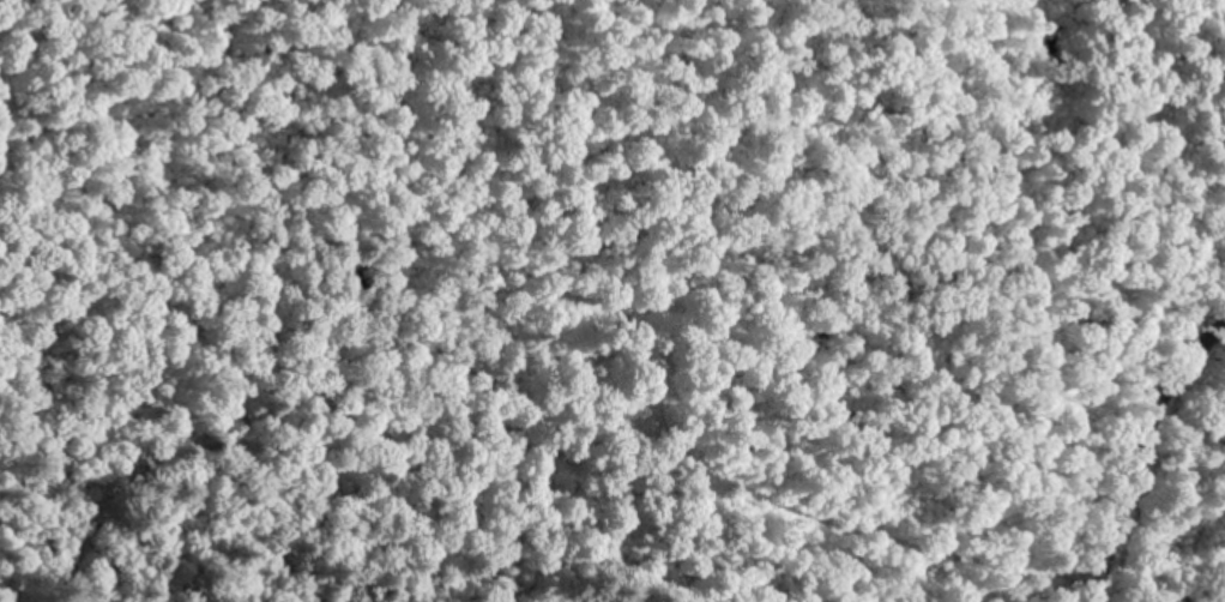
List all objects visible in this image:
road: (1130, 480)

